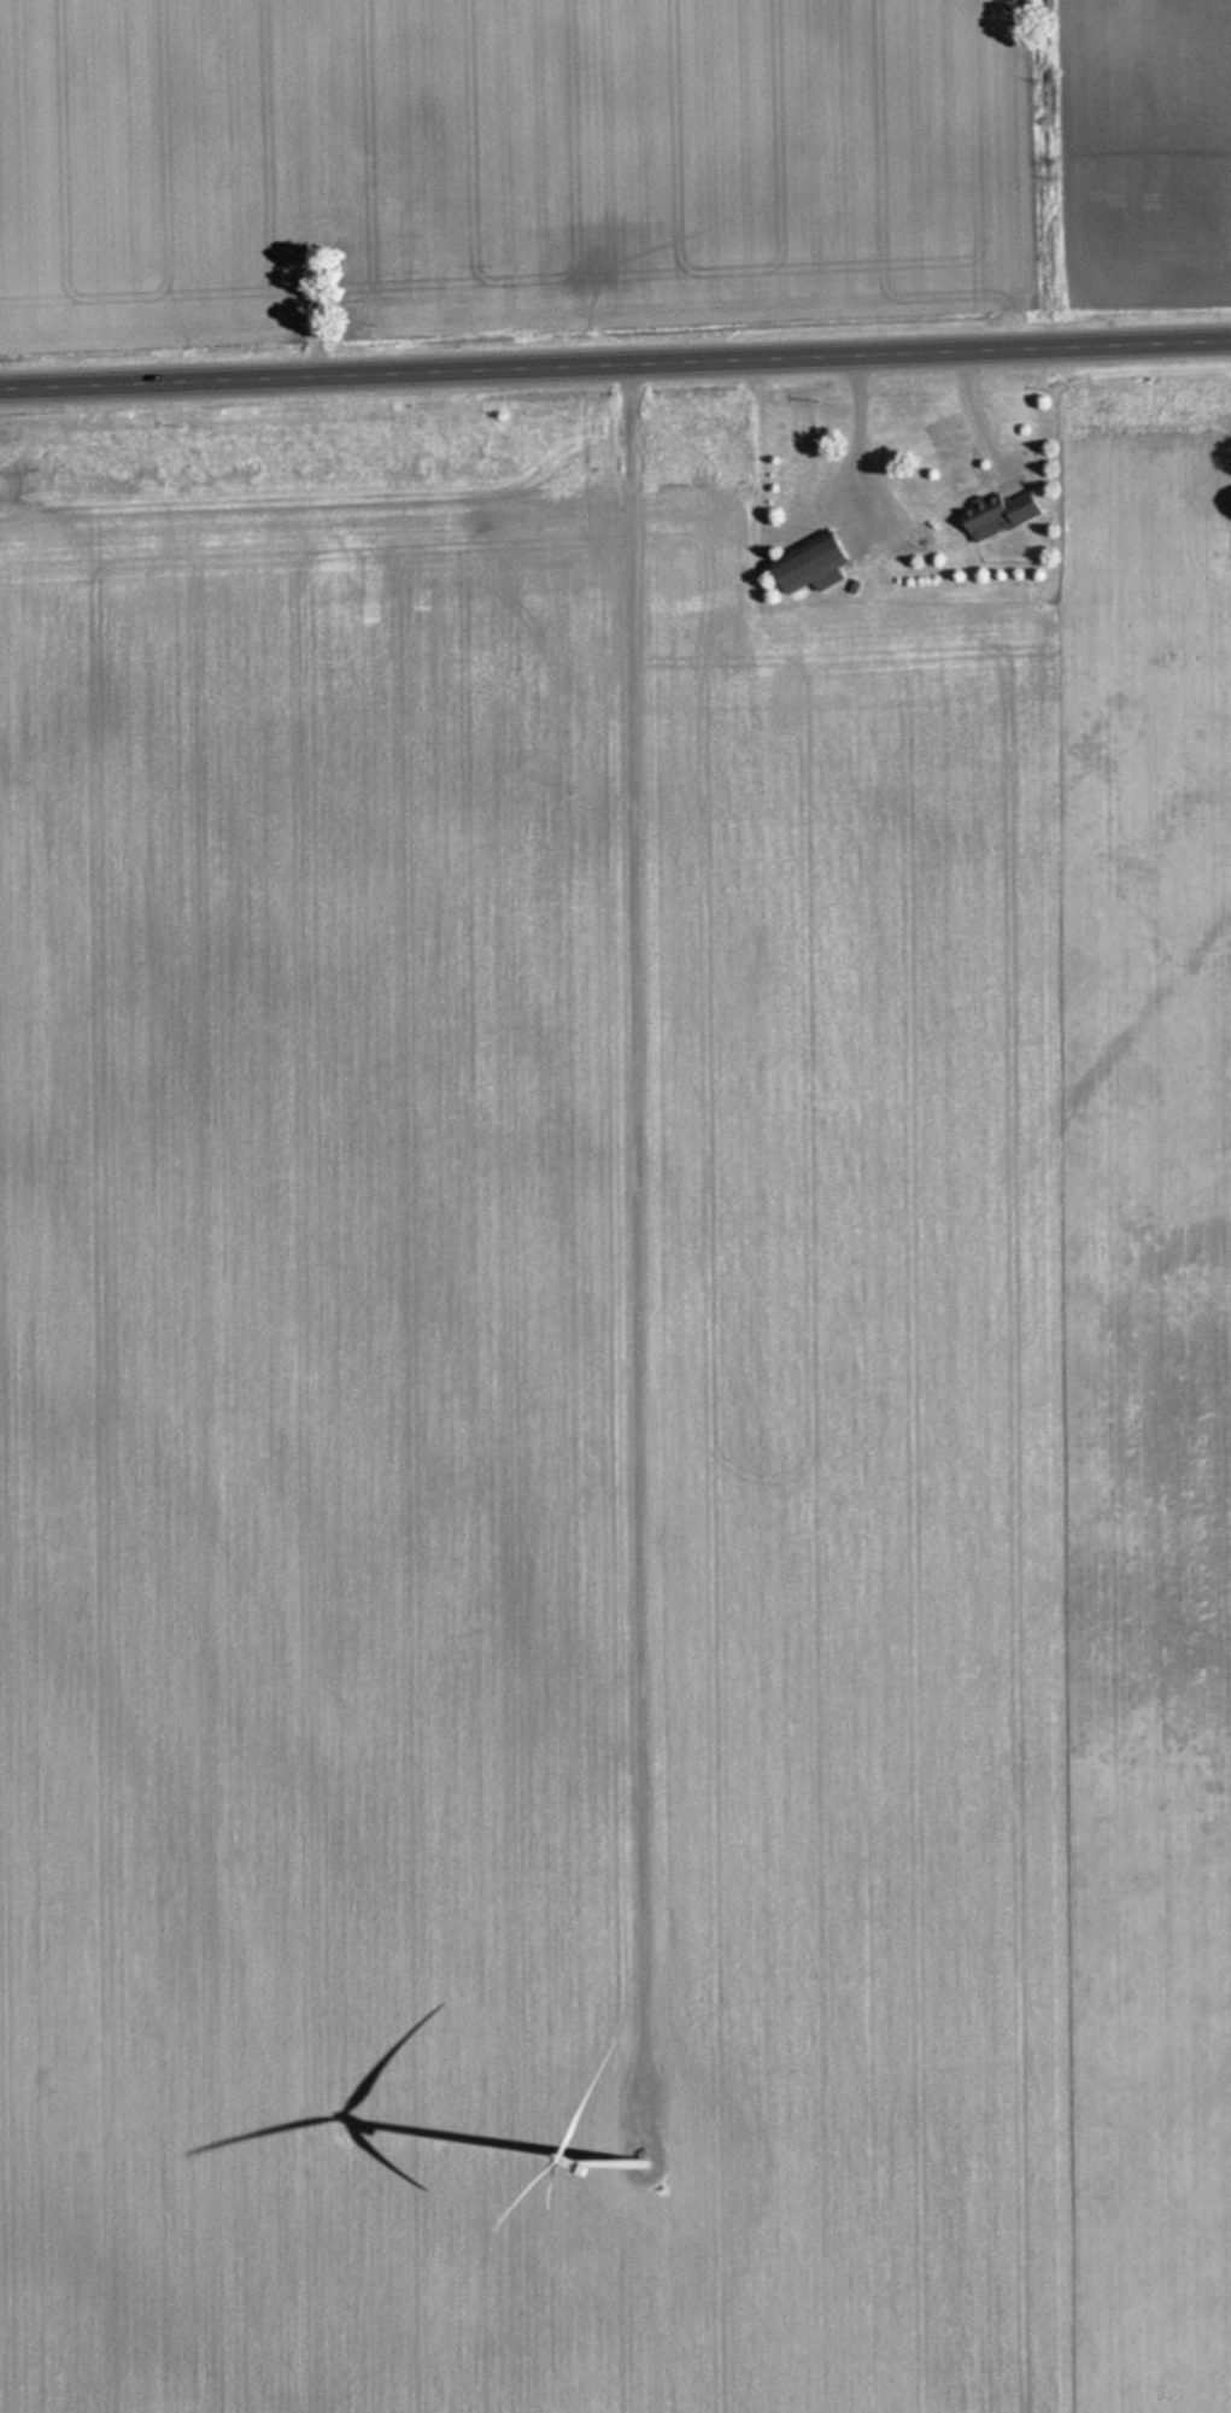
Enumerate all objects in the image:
road: (615, 365)
building: (997, 516)
building: (805, 566)
road: (646, 1202)
wind turbine: (666, 2186)

